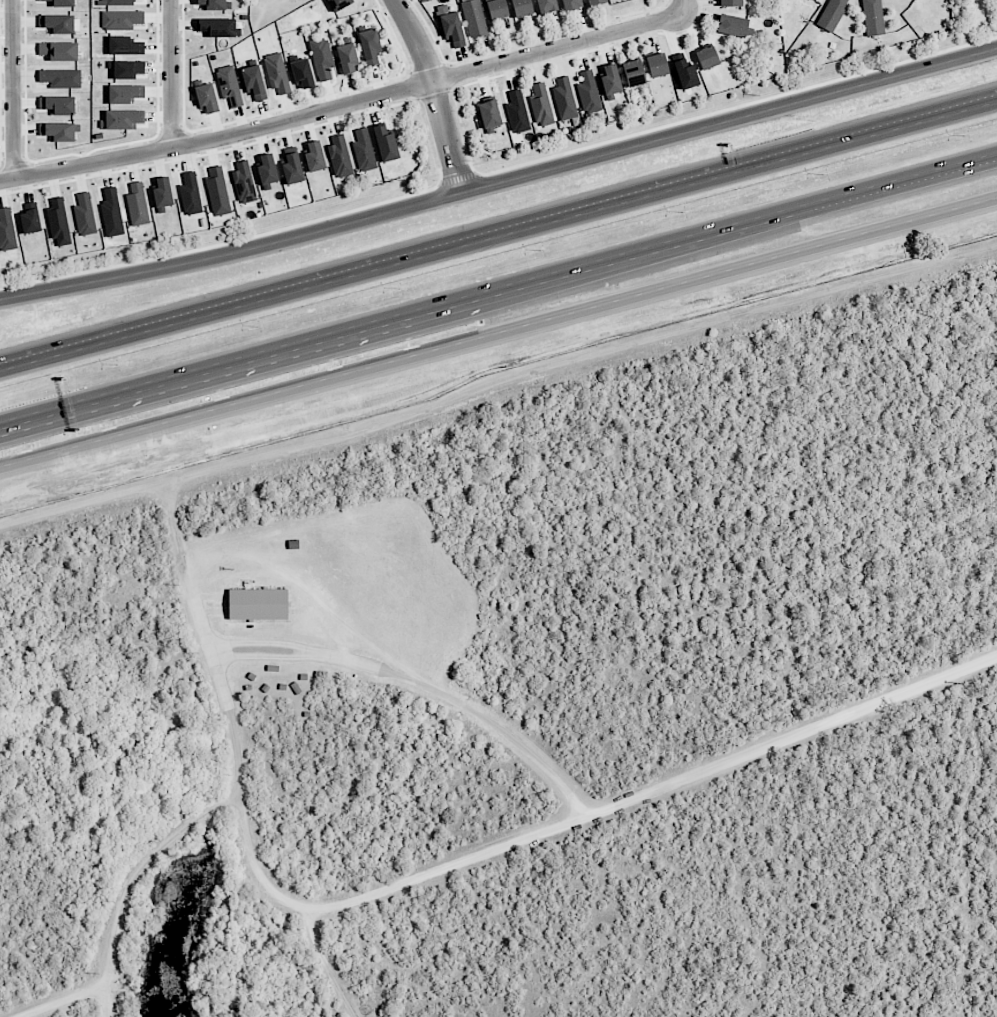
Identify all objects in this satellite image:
building: (814, 0)
building: (117, 2)
building: (595, 2)
building: (61, 3)
building: (729, 3)
building: (213, 4)
building: (338, 4)
building: (571, 4)
building: (546, 6)
road: (684, 7)
building: (522, 8)
building: (497, 9)
building: (832, 14)
building: (873, 17)
building: (474, 18)
building: (121, 19)
building: (60, 23)
building: (450, 26)
building: (734, 26)
building: (218, 27)
building: (125, 46)
building: (370, 46)
building: (58, 51)
building: (322, 58)
building: (347, 58)
building: (707, 58)
building: (656, 65)
building: (127, 69)
building: (685, 71)
building: (277, 73)
building: (302, 73)
building: (633, 73)
road: (172, 74)
building: (61, 78)
building: (610, 80)
building: (254, 82)
building: (229, 85)
road: (13, 89)
building: (588, 92)
building: (125, 93)
road: (436, 94)
building: (207, 99)
building: (564, 99)
building: (58, 105)
road: (343, 105)
building: (541, 105)
building: (517, 112)
building: (489, 115)
building: (122, 119)
building: (59, 131)
building: (385, 143)
building: (363, 150)
building: (314, 157)
building: (339, 157)
building: (292, 166)
building: (267, 171)
building: (244, 183)
road: (500, 184)
building: (217, 192)
building: (162, 194)
building: (190, 194)
building: (137, 205)
building: (111, 213)
building: (84, 215)
building: (30, 218)
building: (58, 222)
building: (6, 230)
road: (498, 240)
road: (498, 287)
road: (498, 333)
road: (497, 388)
building: (258, 604)
road: (420, 685)
road: (241, 771)
road: (584, 818)
road: (337, 966)
road: (67, 1001)

